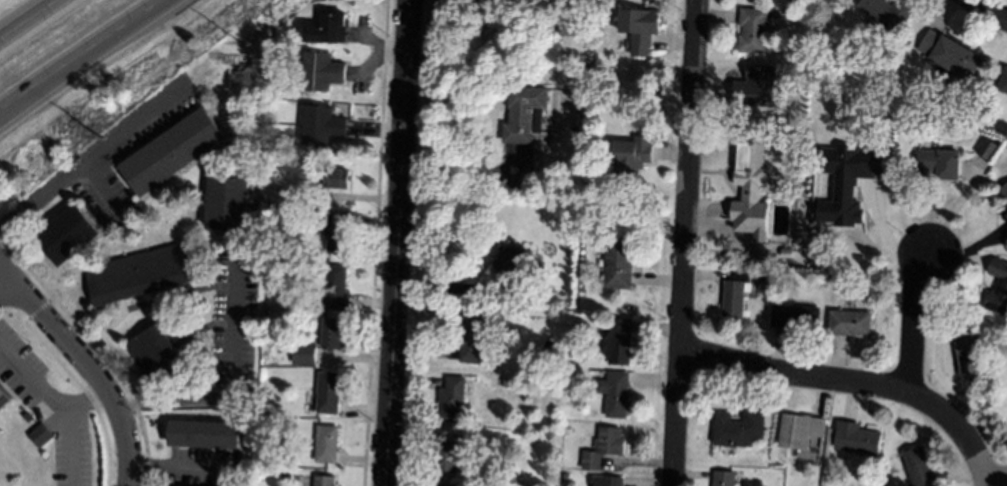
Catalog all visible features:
road: (988, 11)
building: (887, 13)
road: (24, 17)
building: (568, 25)
building: (328, 29)
building: (639, 29)
building: (753, 30)
power tower: (240, 42)
building: (949, 54)
road: (83, 56)
building: (321, 72)
building: (1004, 83)
building: (760, 88)
building: (850, 106)
building: (525, 114)
building: (322, 126)
power tower: (102, 138)
building: (987, 149)
building: (173, 152)
building: (632, 155)
road: (93, 157)
building: (755, 160)
building: (942, 163)
road: (464, 175)
building: (329, 178)
building: (847, 182)
road: (99, 188)
building: (1003, 193)
building: (227, 204)
building: (1006, 206)
building: (1006, 216)
building: (337, 232)
building: (69, 235)
road: (402, 243)
road: (685, 243)
building: (785, 253)
building: (619, 261)
building: (509, 272)
building: (140, 274)
building: (772, 276)
building: (998, 287)
building: (332, 289)
building: (734, 295)
building: (794, 316)
road: (912, 321)
building: (848, 323)
building: (332, 333)
building: (470, 334)
building: (991, 336)
building: (617, 341)
building: (967, 350)
building: (305, 354)
building: (157, 355)
road: (88, 369)
building: (571, 374)
road: (34, 380)
road: (226, 382)
building: (504, 382)
road: (855, 383)
building: (328, 393)
building: (615, 393)
building: (4, 398)
building: (452, 400)
building: (272, 415)
road: (72, 428)
building: (739, 428)
building: (267, 430)
building: (800, 431)
building: (42, 435)
building: (206, 435)
building: (468, 436)
building: (857, 439)
building: (326, 444)
building: (603, 448)
building: (448, 458)
road: (172, 464)
building: (920, 469)
building: (724, 476)
building: (564, 477)
building: (606, 480)
building: (323, 481)
road: (996, 483)
building: (496, 484)
building: (446, 485)

